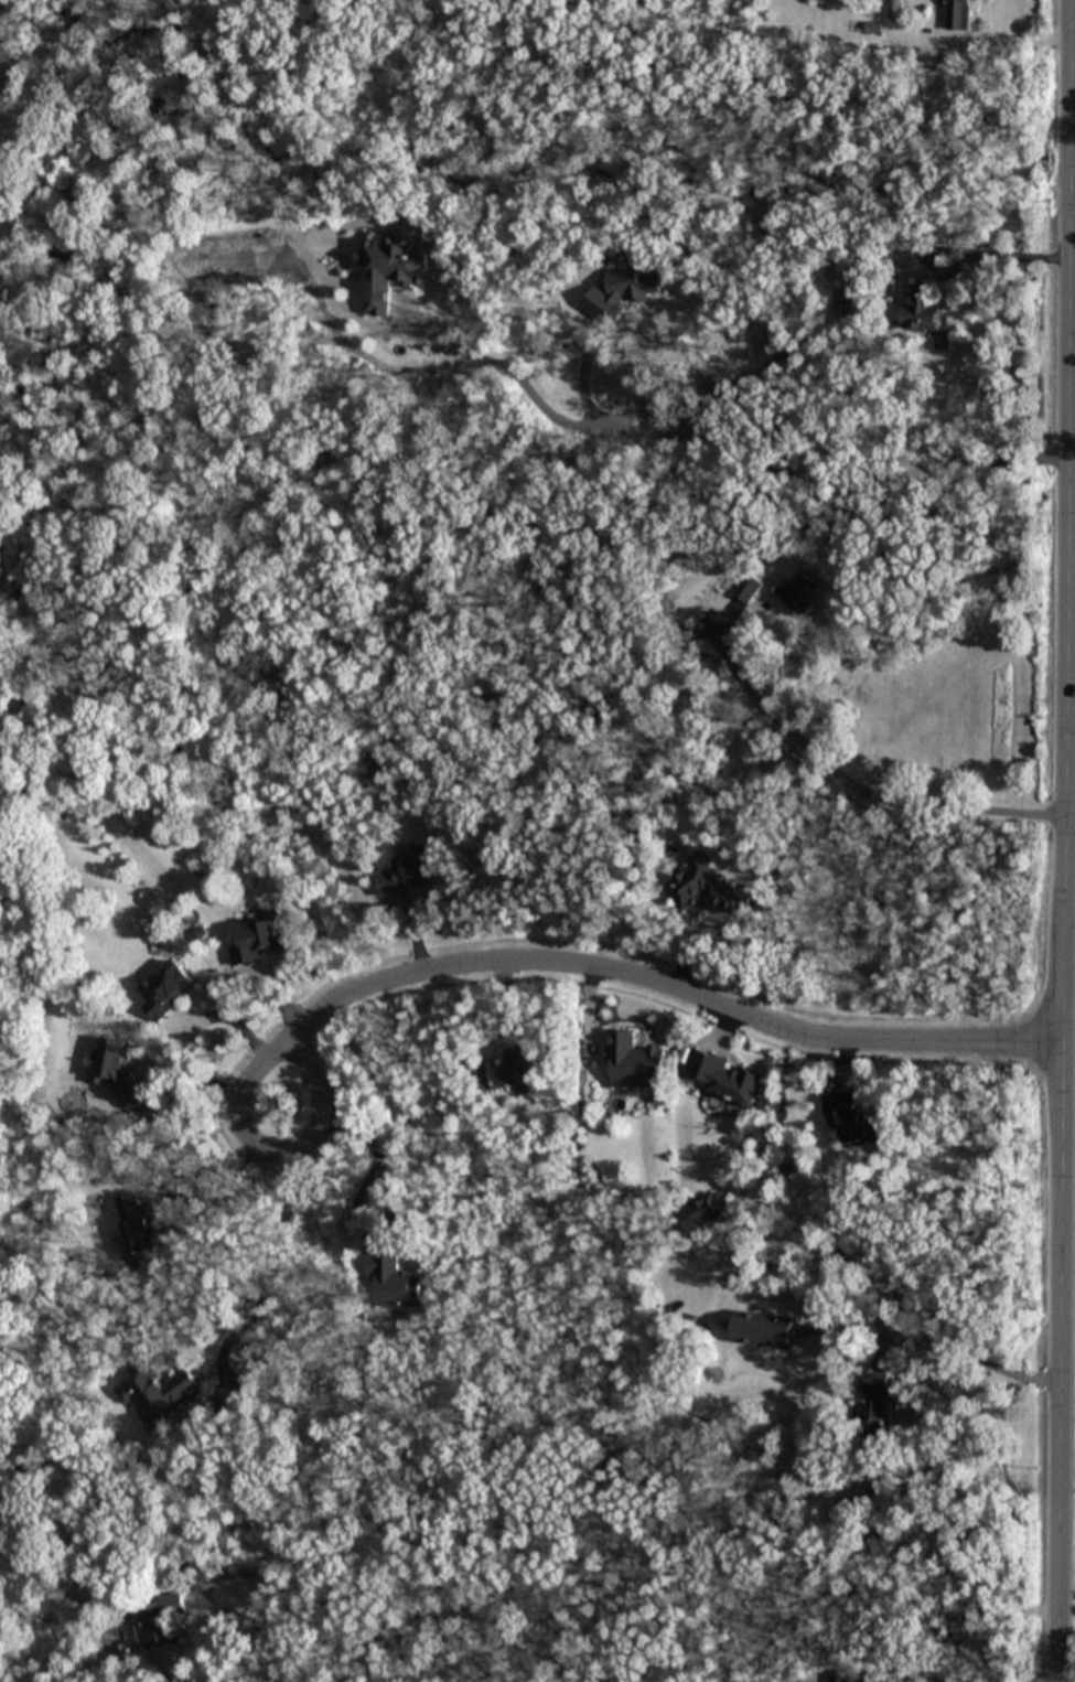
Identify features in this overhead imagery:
building: (895, 9)
building: (957, 14)
building: (391, 268)
building: (622, 290)
building: (852, 302)
building: (917, 307)
road: (1072, 346)
road: (714, 433)
road: (1071, 574)
building: (748, 586)
building: (795, 590)
road: (849, 783)
road: (1065, 840)
building: (411, 871)
building: (708, 887)
building: (256, 942)
building: (166, 988)
road: (676, 989)
road: (225, 1018)
building: (634, 1061)
building: (508, 1069)
building: (117, 1071)
building: (725, 1076)
building: (851, 1118)
road: (376, 1150)
road: (268, 1153)
building: (705, 1209)
building: (136, 1226)
building: (393, 1281)
building: (764, 1328)
road: (960, 1351)
building: (155, 1390)
building: (873, 1411)
road: (858, 1507)
building: (161, 1619)
building: (840, 1678)
road: (1050, 1679)

